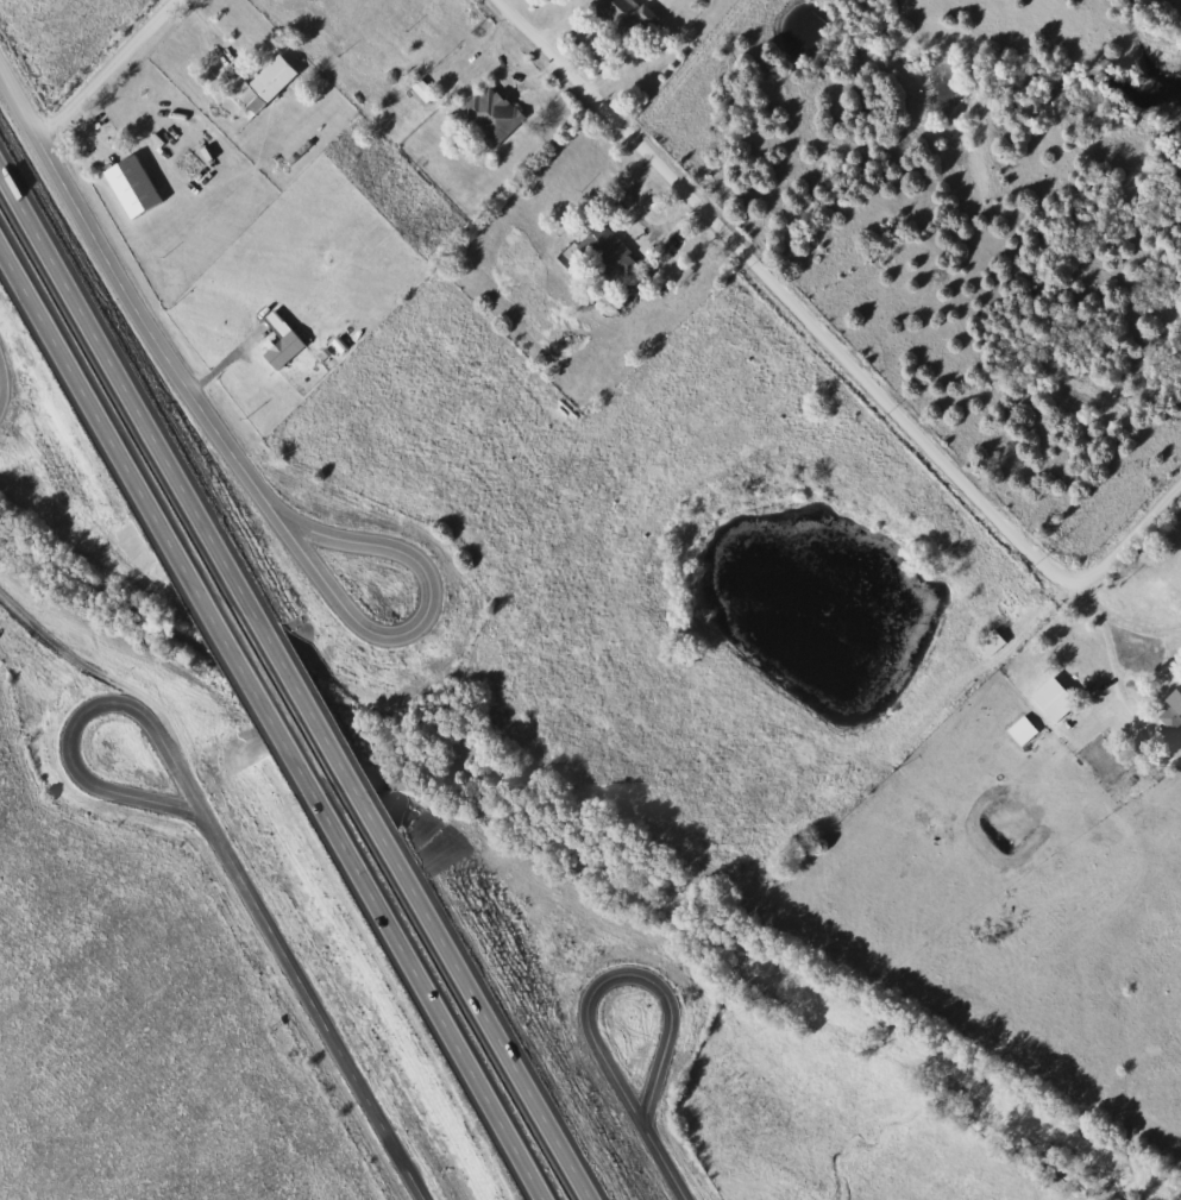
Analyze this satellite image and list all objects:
building: (629, 13)
road: (564, 20)
road: (208, 24)
road: (504, 67)
road: (111, 68)
building: (259, 84)
building: (419, 90)
building: (486, 114)
building: (128, 186)
road: (635, 218)
building: (598, 255)
road: (130, 287)
road: (838, 346)
building: (278, 350)
road: (76, 367)
road: (128, 382)
road: (1056, 617)
road: (225, 623)
road: (1138, 626)
road: (400, 632)
building: (987, 643)
road: (1113, 652)
building: (1049, 700)
building: (1170, 708)
road: (331, 749)
road: (120, 789)
road: (425, 972)
road: (622, 976)
road: (318, 1003)
road: (502, 1044)
road: (662, 1160)

